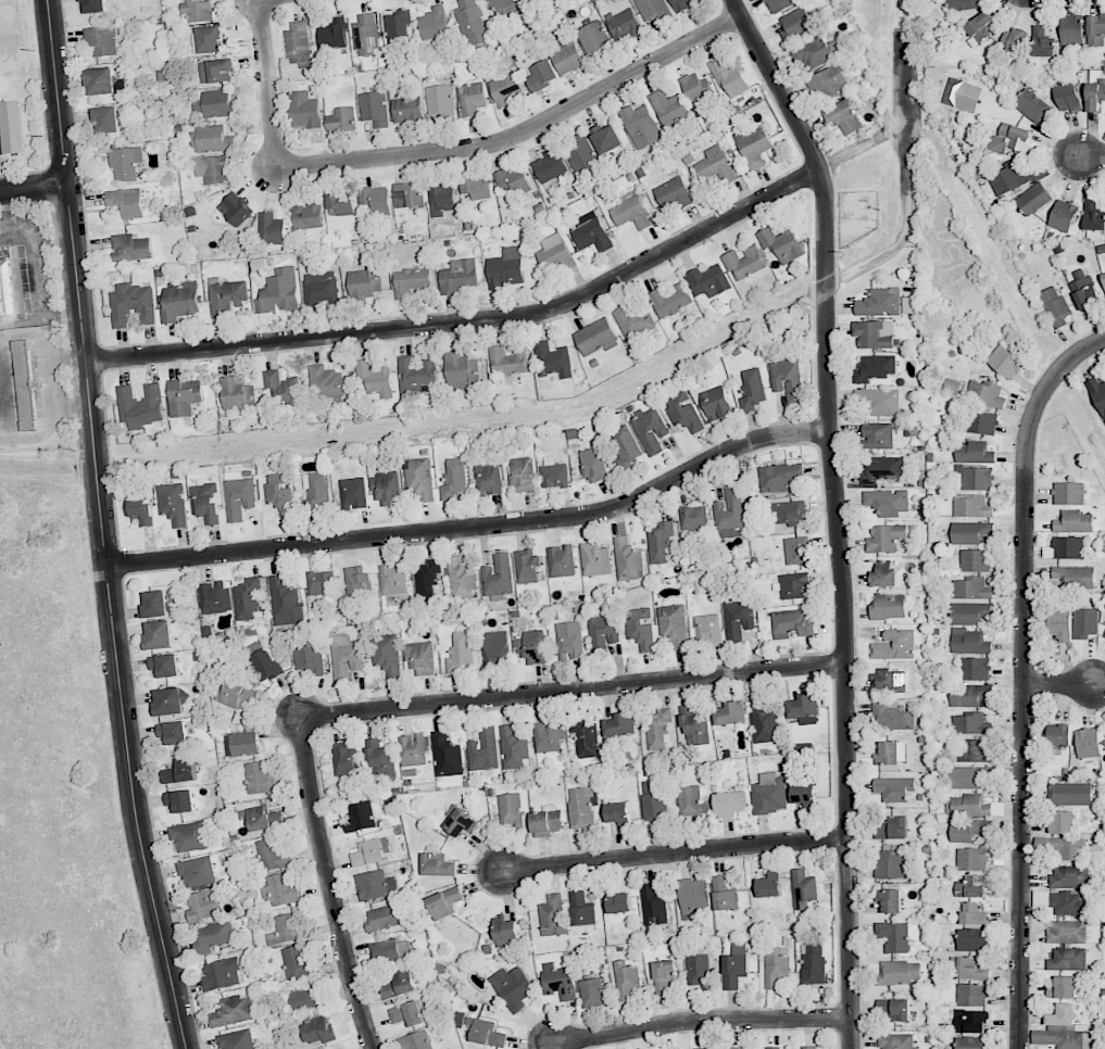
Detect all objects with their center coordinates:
building: (523, 0)
building: (683, 4)
building: (778, 4)
building: (963, 4)
building: (95, 5)
building: (653, 10)
building: (198, 11)
building: (434, 23)
building: (624, 24)
building: (796, 24)
building: (399, 25)
building: (472, 25)
building: (979, 26)
building: (1071, 29)
building: (1095, 29)
building: (332, 34)
building: (366, 35)
building: (593, 37)
building: (210, 39)
building: (101, 40)
building: (1016, 40)
building: (299, 42)
building: (1042, 42)
building: (813, 52)
building: (567, 58)
building: (216, 71)
building: (540, 75)
building: (730, 77)
building: (101, 80)
building: (828, 81)
road: (269, 84)
building: (506, 88)
building: (696, 89)
building: (962, 94)
building: (1095, 94)
building: (1067, 96)
building: (472, 99)
building: (440, 101)
building: (214, 103)
building: (1031, 105)
building: (374, 108)
building: (669, 108)
building: (305, 110)
building: (407, 111)
building: (843, 116)
building: (106, 119)
building: (341, 119)
building: (640, 126)
building: (12, 127)
road: (524, 132)
building: (606, 138)
building: (1007, 138)
building: (213, 139)
building: (754, 148)
building: (581, 154)
road: (1096, 156)
building: (125, 163)
building: (716, 165)
building: (549, 168)
building: (213, 169)
building: (1014, 178)
building: (514, 179)
road: (34, 187)
building: (475, 187)
building: (674, 193)
building: (409, 194)
building: (375, 198)
building: (440, 198)
building: (1034, 199)
building: (127, 202)
building: (340, 203)
building: (235, 208)
building: (631, 213)
building: (307, 215)
building: (1063, 215)
building: (271, 228)
building: (590, 232)
building: (781, 243)
building: (130, 248)
building: (554, 254)
building: (744, 262)
building: (505, 268)
road: (36, 276)
building: (457, 276)
building: (1103, 278)
building: (708, 280)
building: (411, 281)
building: (364, 283)
building: (5, 289)
building: (321, 289)
building: (1084, 290)
building: (279, 292)
building: (225, 296)
building: (670, 300)
building: (180, 302)
building: (880, 303)
building: (133, 304)
building: (1055, 305)
road: (468, 321)
building: (635, 321)
building: (874, 334)
building: (595, 337)
building: (553, 358)
building: (507, 362)
building: (1004, 362)
building: (875, 368)
building: (462, 370)
building: (416, 375)
building: (787, 379)
building: (375, 380)
building: (326, 381)
building: (25, 386)
building: (284, 388)
building: (752, 389)
building: (238, 393)
building: (985, 393)
building: (1097, 393)
building: (185, 396)
building: (879, 401)
building: (717, 403)
building: (141, 406)
road: (1082, 410)
building: (683, 412)
building: (0, 415)
building: (982, 422)
building: (651, 430)
building: (877, 435)
building: (625, 444)
building: (975, 453)
building: (593, 465)
building: (881, 469)
building: (554, 473)
building: (523, 475)
building: (778, 477)
building: (419, 478)
building: (978, 478)
building: (455, 479)
building: (489, 479)
building: (386, 488)
building: (281, 493)
building: (316, 493)
building: (354, 493)
building: (1069, 493)
building: (239, 495)
building: (206, 502)
building: (887, 502)
building: (173, 503)
building: (972, 506)
building: (139, 508)
building: (789, 513)
building: (729, 514)
road: (837, 514)
building: (693, 518)
building: (1073, 521)
road: (102, 527)
road: (477, 528)
building: (970, 532)
building: (886, 538)
building: (660, 542)
building: (1068, 547)
building: (796, 551)
building: (592, 559)
building: (627, 559)
building: (561, 560)
building: (975, 560)
building: (526, 567)
building: (883, 574)
building: (498, 576)
building: (1072, 577)
building: (427, 578)
building: (393, 579)
building: (461, 581)
building: (322, 582)
building: (357, 583)
building: (793, 585)
building: (971, 589)
building: (215, 597)
building: (248, 598)
building: (286, 602)
building: (155, 604)
building: (889, 606)
building: (970, 614)
building: (738, 618)
building: (1085, 622)
building: (791, 623)
building: (674, 624)
building: (1062, 624)
building: (641, 628)
building: (707, 630)
building: (603, 632)
building: (159, 634)
building: (1104, 635)
building: (569, 640)
building: (969, 642)
building: (895, 645)
building: (531, 646)
building: (495, 648)
building: (461, 652)
building: (386, 654)
building: (344, 658)
building: (420, 658)
building: (309, 659)
building: (165, 665)
building: (265, 666)
building: (974, 669)
road: (1025, 678)
building: (889, 681)
road: (1062, 685)
road: (572, 690)
building: (237, 695)
building: (969, 695)
building: (168, 702)
building: (730, 713)
building: (892, 716)
building: (765, 722)
building: (970, 723)
building: (694, 724)
building: (620, 725)
building: (658, 729)
building: (172, 733)
building: (1059, 735)
building: (548, 737)
building: (587, 738)
building: (1104, 742)
building: (1088, 743)
building: (241, 744)
building: (513, 748)
building: (413, 749)
building: (484, 750)
building: (971, 750)
building: (891, 754)
building: (445, 755)
building: (381, 758)
building: (346, 759)
building: (180, 771)
building: (968, 776)
building: (260, 779)
building: (893, 788)
building: (769, 794)
building: (804, 794)
building: (1070, 794)
building: (654, 800)
building: (179, 801)
building: (692, 801)
building: (729, 804)
building: (966, 806)
building: (511, 809)
building: (581, 809)
building: (997, 809)
building: (618, 813)
building: (361, 817)
building: (262, 818)
building: (457, 821)
building: (1062, 822)
building: (545, 823)
building: (892, 827)
building: (967, 830)
building: (189, 836)
building: (1063, 847)
building: (368, 852)
road: (677, 852)
building: (273, 855)
building: (971, 859)
building: (890, 863)
building: (437, 864)
building: (197, 871)
building: (1070, 876)
building: (375, 885)
building: (769, 885)
road: (327, 886)
building: (972, 886)
building: (281, 889)
building: (804, 889)
building: (724, 894)
building: (692, 895)
building: (890, 900)
building: (444, 901)
building: (619, 902)
building: (1069, 902)
building: (204, 905)
building: (653, 905)
building: (581, 909)
building: (974, 914)
building: (552, 915)
building: (381, 918)
building: (287, 928)
building: (505, 931)
building: (1067, 932)
building: (213, 935)
building: (893, 936)
building: (974, 939)
building: (389, 950)
building: (1068, 958)
building: (297, 962)
building: (813, 964)
building: (776, 966)
building: (966, 968)
building: (699, 970)
building: (734, 970)
building: (900, 973)
building: (221, 974)
building: (664, 975)
building: (626, 980)
building: (558, 981)
building: (397, 985)
building: (1063, 987)
building: (513, 988)
building: (591, 993)
building: (971, 995)
building: (304, 998)
building: (893, 1010)
building: (234, 1011)
building: (406, 1014)
building: (1063, 1014)
road: (704, 1020)
building: (970, 1021)
building: (317, 1029)
building: (486, 1032)
building: (1064, 1038)
building: (236, 1040)
building: (416, 1040)
building: (896, 1041)
building: (971, 1044)
building: (809, 1047)
building: (706, 1048)
building: (732, 1048)
building: (774, 1048)

